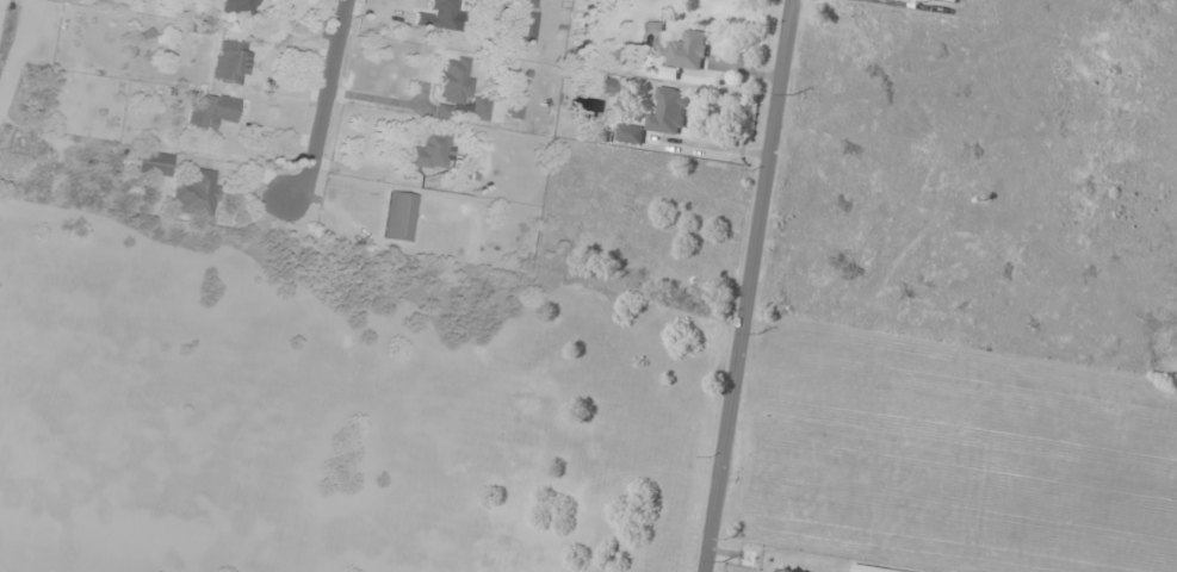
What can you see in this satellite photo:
road: (0, 5)
building: (241, 6)
building: (440, 14)
building: (529, 21)
building: (688, 50)
building: (233, 62)
building: (457, 80)
building: (603, 87)
road: (323, 105)
building: (218, 110)
building: (482, 110)
building: (667, 112)
building: (630, 133)
building: (432, 150)
building: (155, 163)
building: (196, 193)
building: (401, 216)
road: (747, 286)

